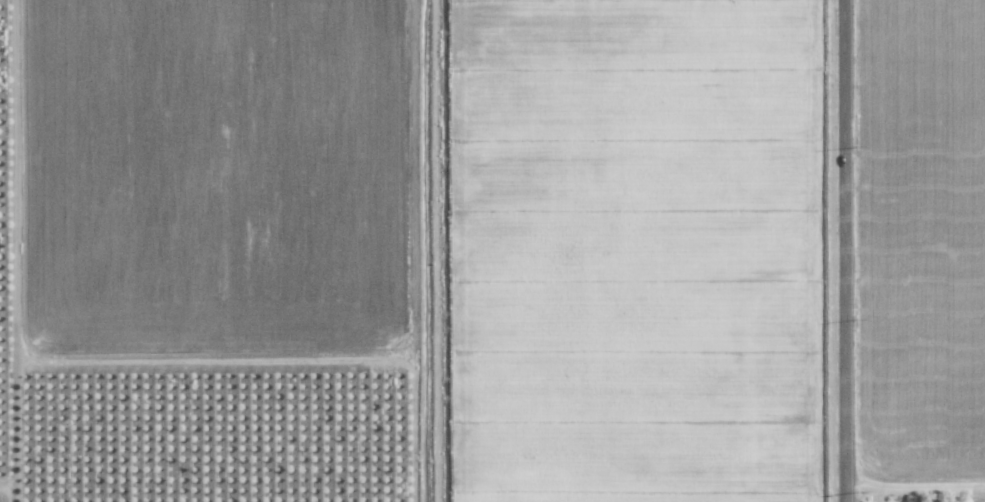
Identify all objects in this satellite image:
road: (846, 250)

